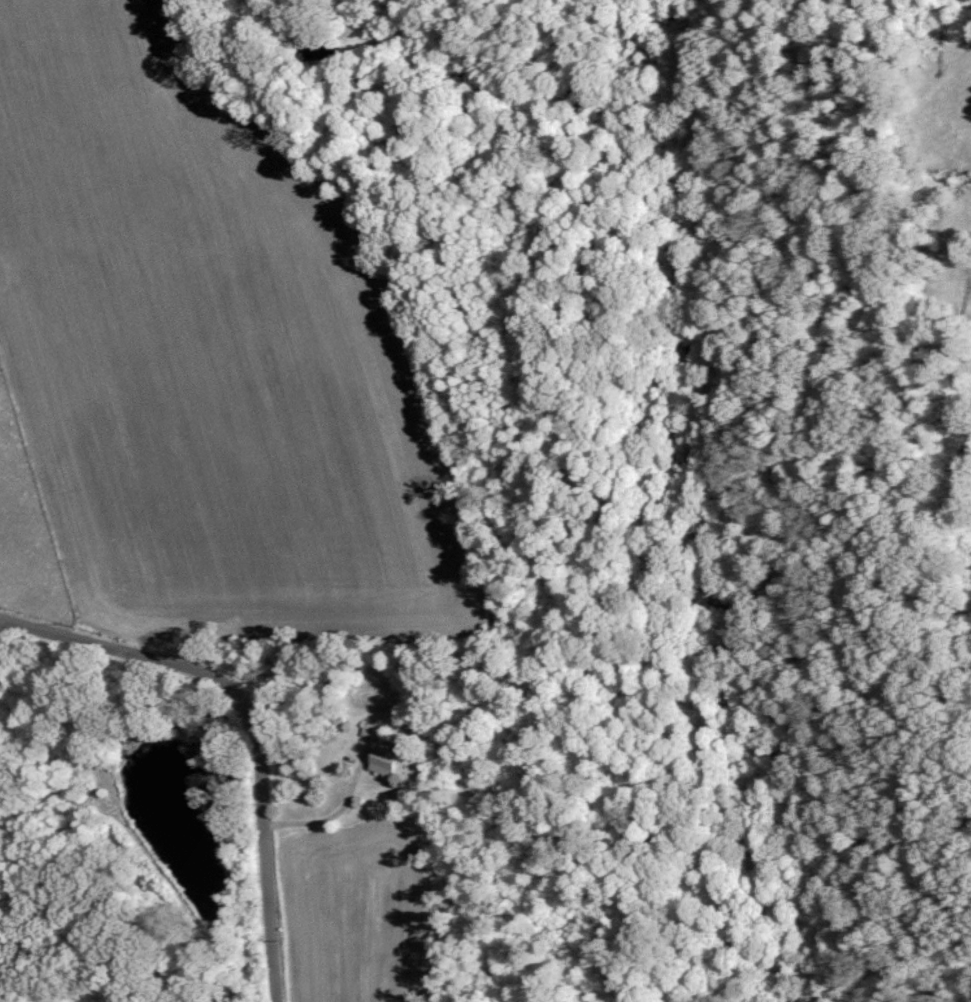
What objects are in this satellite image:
road: (258, 719)
building: (381, 760)
road: (336, 817)

